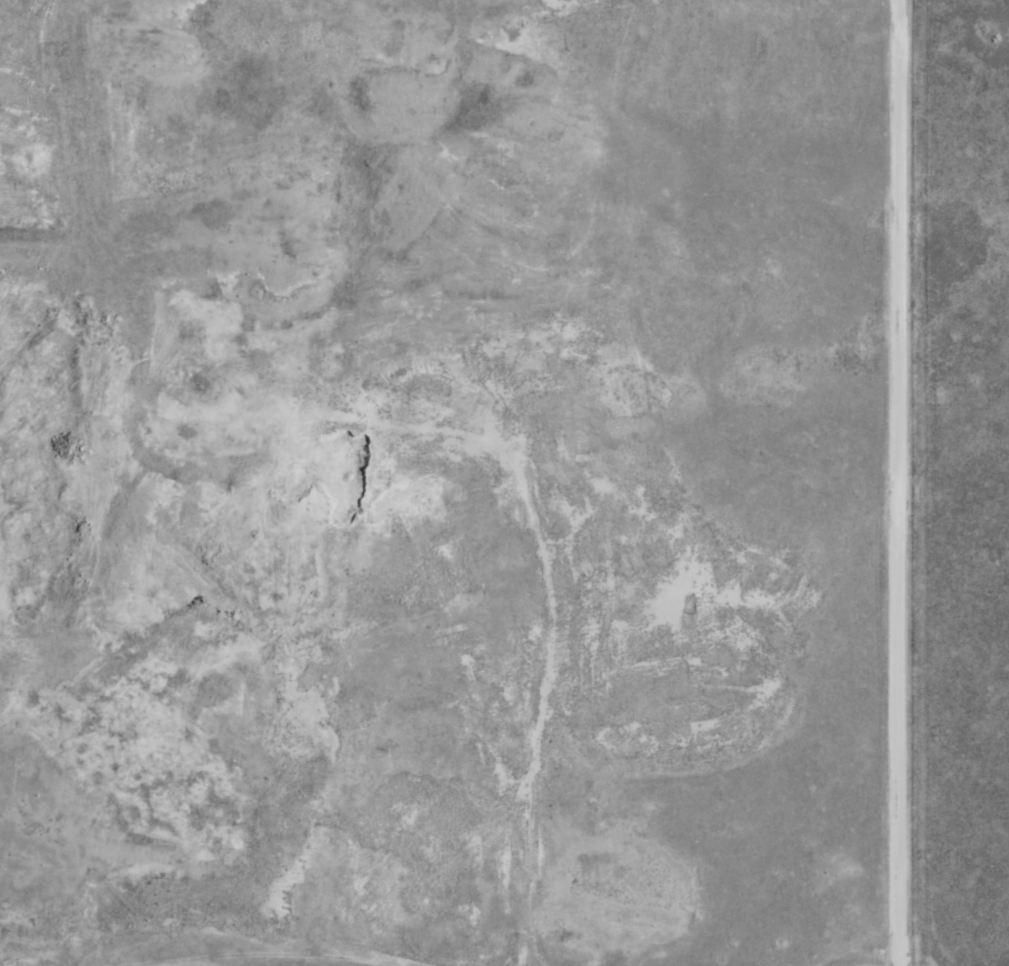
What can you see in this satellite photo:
road: (897, 483)

